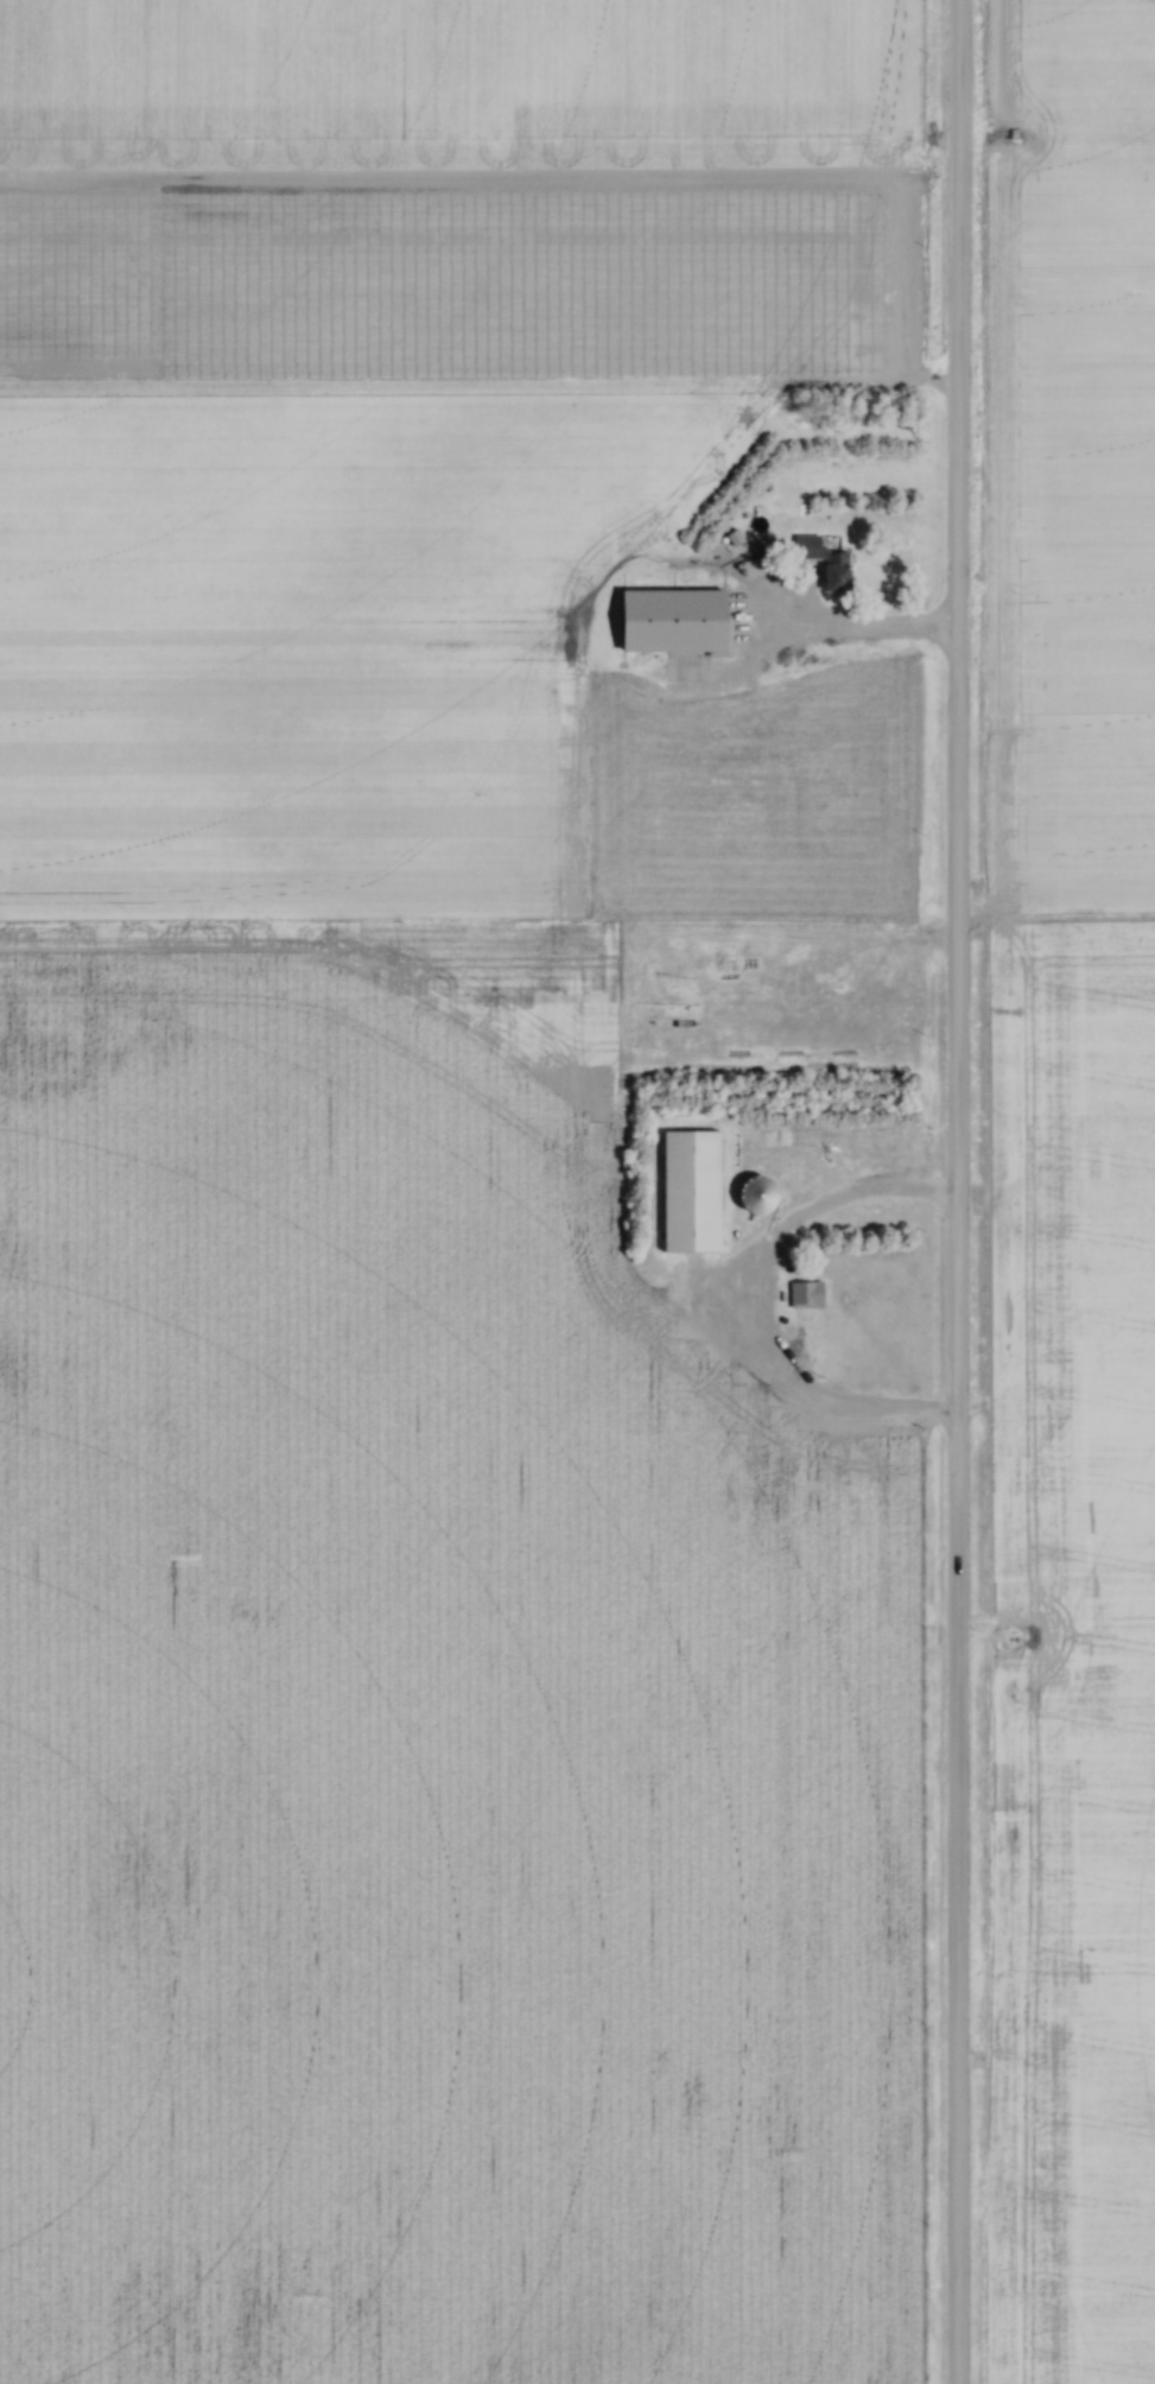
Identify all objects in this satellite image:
building: (834, 575)
building: (690, 1191)
road: (954, 1191)
building: (756, 1194)
road: (849, 1207)
building: (805, 1294)

